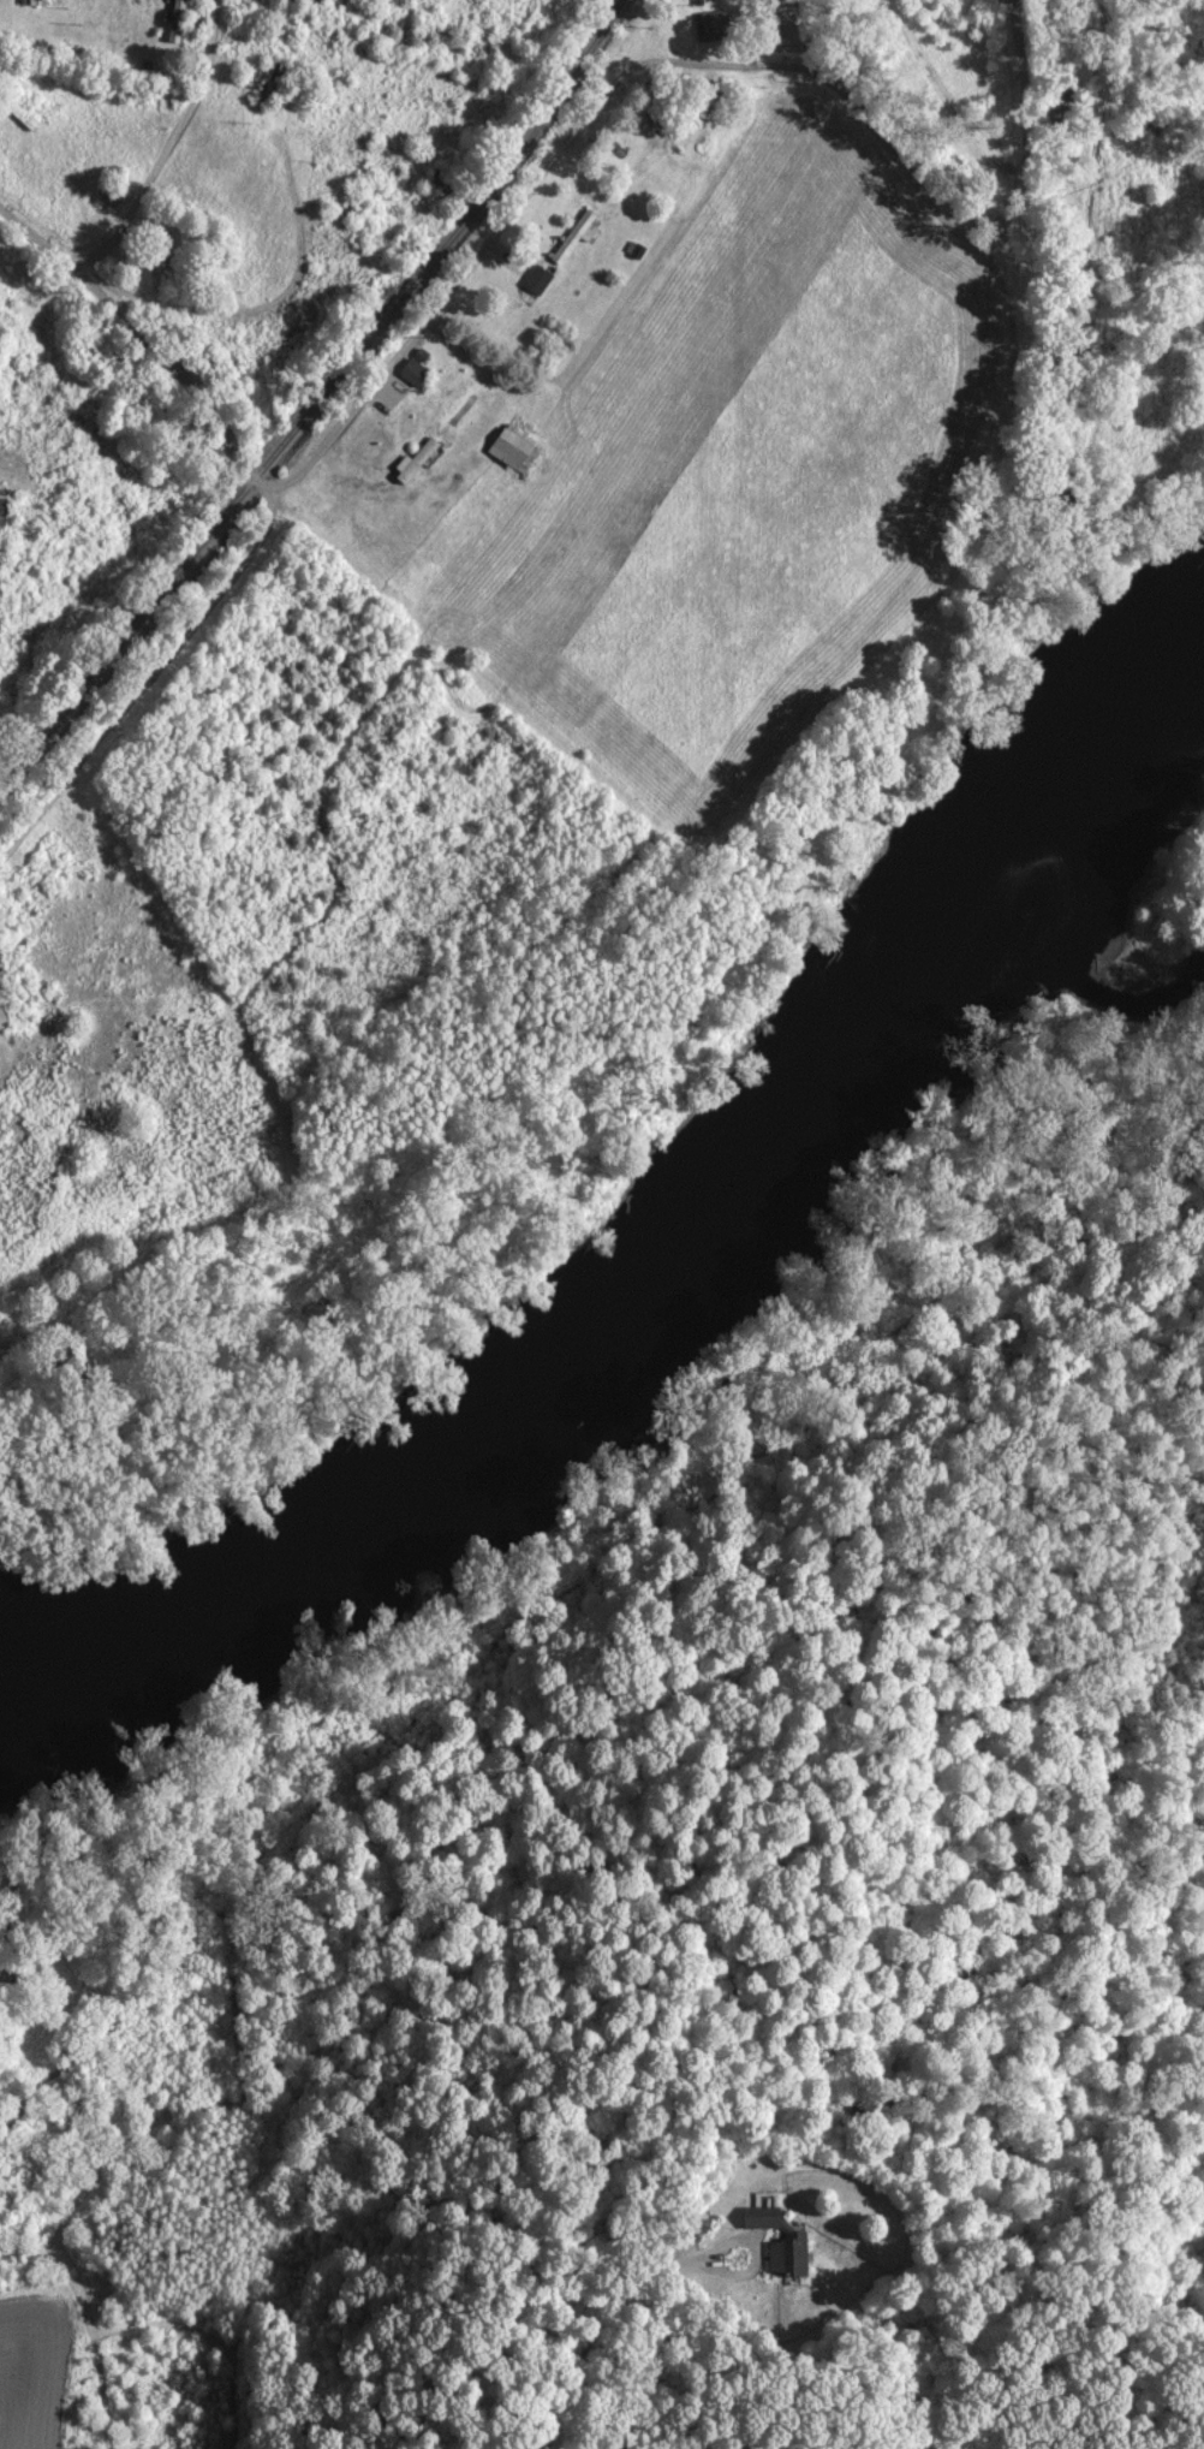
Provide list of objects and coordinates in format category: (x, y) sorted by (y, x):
building: (174, 20)
road: (172, 147)
road: (541, 172)
building: (574, 233)
building: (536, 278)
building: (412, 370)
railway: (318, 399)
building: (512, 446)
building: (413, 458)
building: (2, 507)
river: (695, 1259)
road: (606, 2313)

